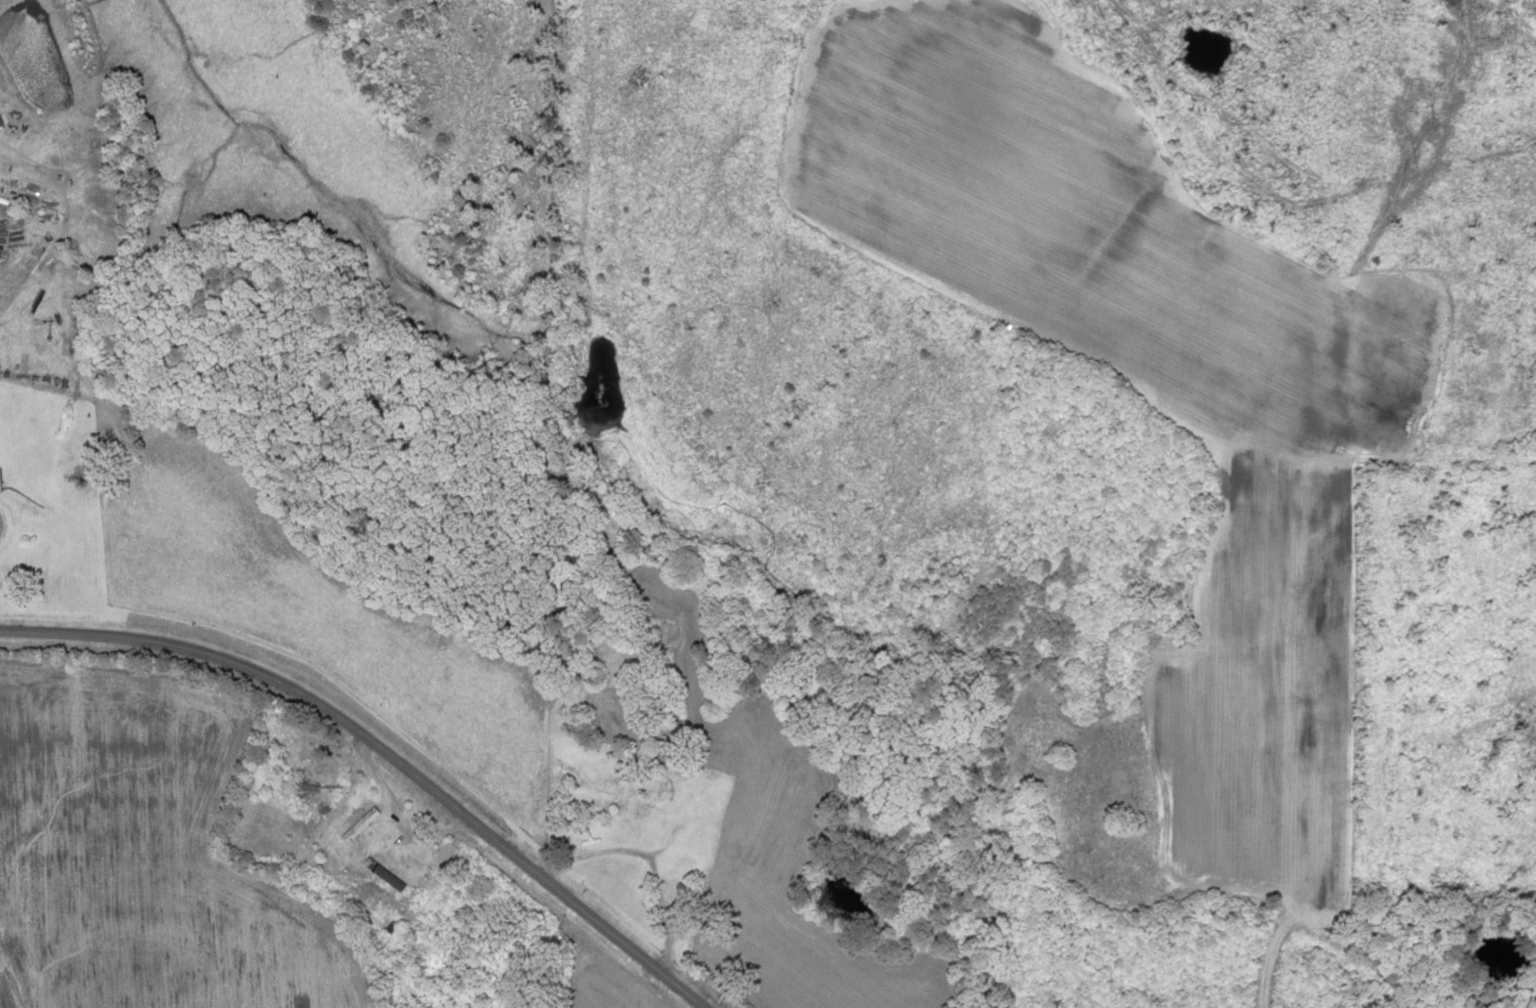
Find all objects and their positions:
road: (398, 748)
building: (637, 817)
building: (359, 823)

